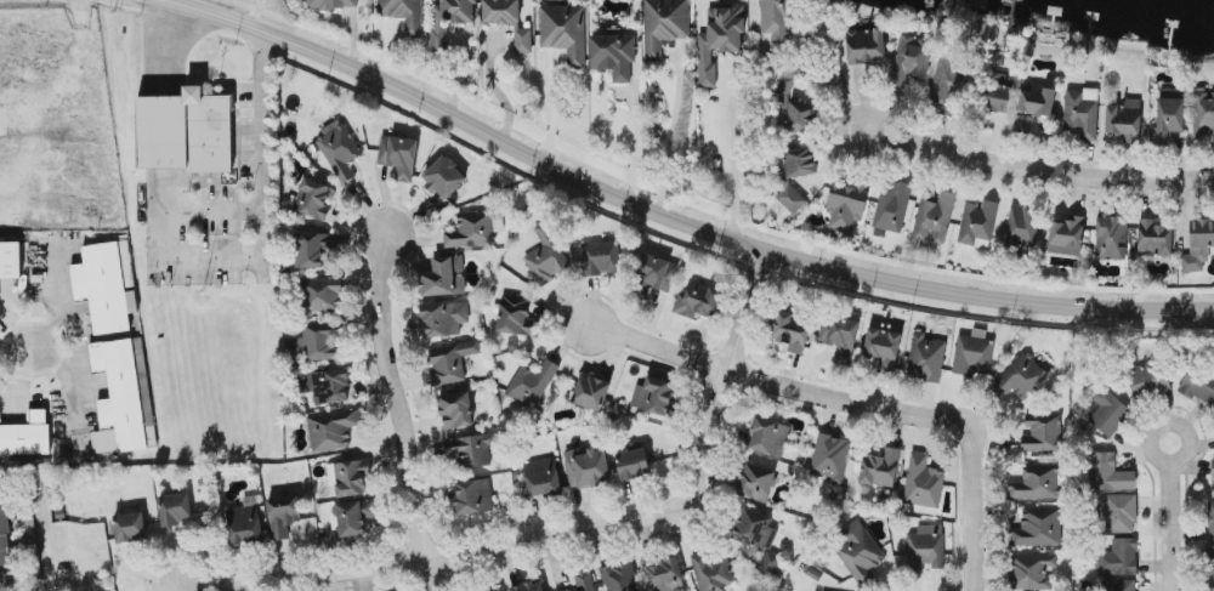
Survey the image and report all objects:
road: (159, 2)
road: (172, 2)
building: (331, 4)
building: (501, 11)
building: (404, 15)
building: (776, 18)
building: (449, 21)
building: (664, 25)
building: (565, 32)
building: (719, 39)
building: (866, 45)
building: (613, 55)
building: (910, 59)
building: (947, 83)
building: (783, 86)
building: (997, 98)
building: (1034, 107)
road: (554, 109)
building: (1082, 112)
building: (1203, 115)
building: (801, 117)
building: (1168, 119)
building: (1124, 120)
building: (185, 132)
road: (634, 146)
building: (340, 150)
building: (399, 155)
road: (737, 159)
building: (800, 161)
road: (263, 170)
road: (1034, 171)
building: (443, 176)
building: (790, 198)
building: (313, 199)
building: (849, 200)
building: (891, 209)
building: (935, 217)
road: (679, 223)
building: (977, 223)
building: (1023, 226)
building: (473, 229)
building: (1067, 237)
building: (1111, 237)
building: (1155, 237)
building: (1198, 245)
building: (313, 248)
building: (546, 255)
building: (601, 257)
building: (10, 261)
building: (444, 277)
building: (656, 279)
building: (106, 286)
building: (323, 295)
building: (697, 300)
building: (517, 317)
building: (443, 318)
building: (792, 333)
building: (839, 336)
building: (323, 340)
building: (883, 343)
road: (16, 350)
building: (974, 353)
building: (926, 358)
building: (450, 360)
road: (67, 374)
building: (1021, 377)
building: (1148, 380)
building: (532, 382)
building: (327, 385)
building: (1198, 385)
road: (771, 391)
building: (590, 392)
building: (657, 396)
building: (121, 400)
building: (456, 409)
road: (395, 411)
building: (1107, 411)
building: (331, 428)
building: (1042, 433)
building: (25, 436)
building: (768, 436)
building: (470, 450)
building: (830, 458)
building: (632, 464)
building: (880, 468)
building: (588, 470)
building: (1108, 473)
building: (543, 476)
building: (348, 477)
building: (1212, 477)
building: (755, 482)
building: (1037, 483)
building: (923, 484)
building: (473, 496)
building: (175, 508)
road: (970, 508)
building: (1118, 512)
building: (283, 516)
road: (1170, 516)
building: (352, 517)
building: (1210, 521)
building: (243, 524)
building: (130, 527)
building: (1038, 528)
building: (758, 535)
building: (5, 536)
road: (579, 538)
building: (925, 547)
building: (858, 550)
building: (1118, 557)
building: (713, 570)
building: (1032, 572)
building: (665, 575)
building: (620, 576)
building: (585, 580)
building: (1119, 585)
building: (498, 590)

